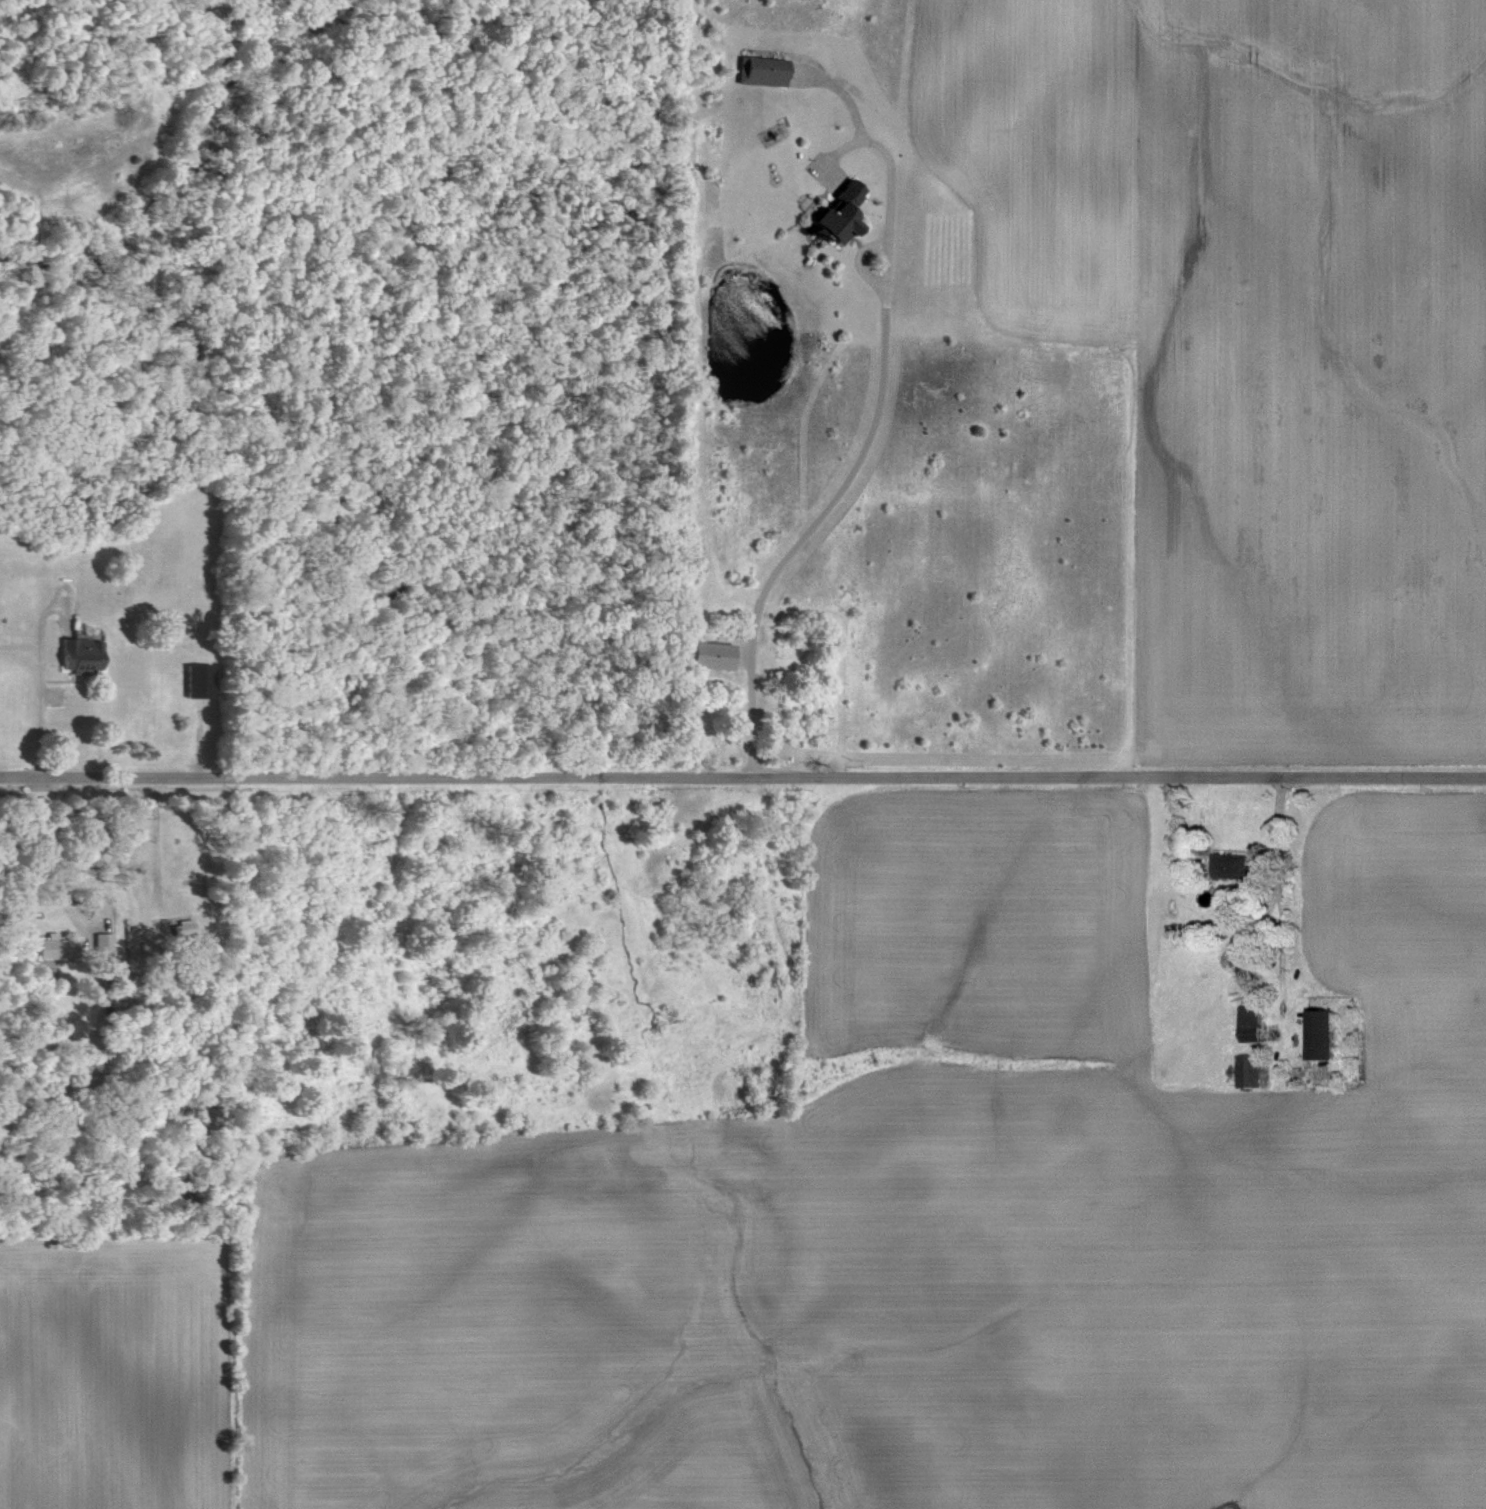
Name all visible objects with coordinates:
building: (768, 72)
building: (849, 215)
road: (851, 465)
building: (88, 654)
building: (719, 655)
building: (203, 680)
road: (37, 682)
road: (742, 776)
road: (153, 835)
road: (45, 853)
building: (1235, 864)
road: (1283, 886)
building: (63, 949)
building: (1258, 1023)
building: (1332, 1034)
building: (1253, 1071)

